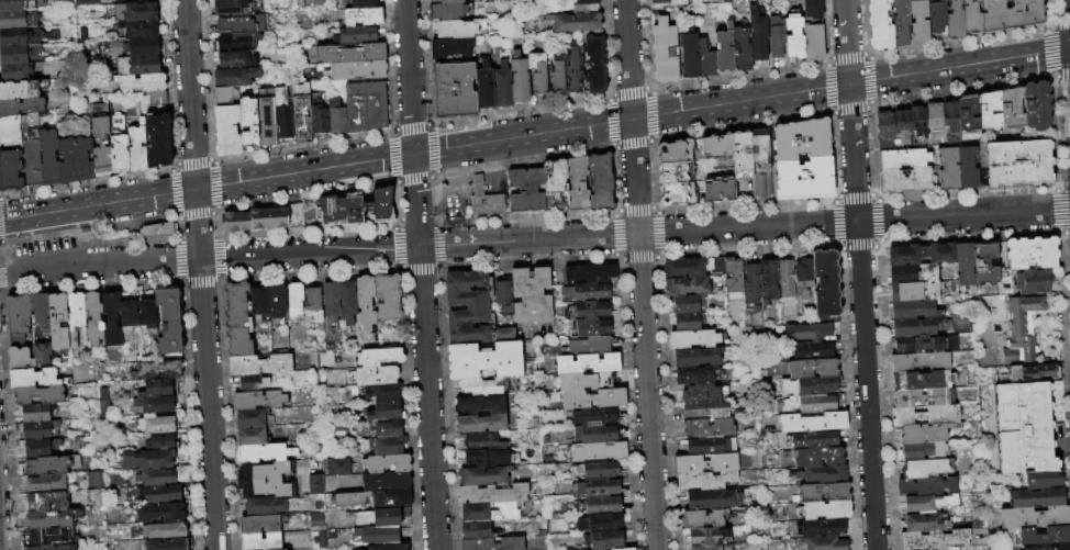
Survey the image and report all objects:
building: (446, 1)
building: (85, 2)
building: (696, 2)
building: (364, 3)
building: (667, 3)
building: (18, 4)
building: (586, 7)
building: (232, 8)
building: (812, 8)
building: (447, 11)
building: (134, 12)
building: (1011, 14)
building: (363, 16)
building: (937, 18)
building: (972, 18)
building: (18, 19)
building: (955, 20)
building: (919, 21)
building: (576, 22)
building: (902, 22)
building: (242, 24)
building: (881, 25)
building: (138, 29)
building: (458, 29)
building: (355, 35)
building: (757, 35)
building: (20, 36)
building: (793, 36)
building: (776, 37)
building: (813, 40)
building: (238, 41)
building: (134, 47)
building: (452, 47)
building: (740, 49)
building: (724, 50)
building: (664, 52)
building: (18, 54)
building: (350, 54)
building: (688, 55)
building: (236, 59)
road: (627, 59)
building: (705, 60)
building: (595, 61)
building: (137, 65)
building: (573, 69)
building: (358, 70)
building: (14, 72)
building: (538, 72)
building: (557, 76)
building: (236, 77)
road: (408, 77)
building: (520, 79)
building: (141, 82)
road: (850, 83)
building: (503, 86)
building: (484, 87)
building: (21, 89)
building: (454, 90)
road: (189, 94)
building: (224, 94)
building: (156, 98)
building: (375, 104)
building: (1036, 105)
building: (20, 106)
building: (355, 106)
building: (1011, 109)
building: (989, 111)
building: (301, 112)
building: (282, 113)
building: (319, 113)
building: (968, 114)
building: (336, 116)
building: (266, 117)
building: (934, 117)
building: (951, 122)
building: (248, 124)
building: (27, 125)
building: (917, 126)
building: (901, 127)
building: (227, 130)
building: (884, 131)
building: (9, 134)
road: (522, 136)
building: (157, 138)
building: (801, 138)
building: (717, 144)
building: (118, 145)
building: (100, 146)
building: (136, 147)
building: (759, 147)
building: (675, 150)
building: (742, 154)
traffic signals: (413, 155)
building: (47, 157)
building: (902, 159)
building: (75, 160)
building: (1014, 162)
building: (30, 164)
building: (958, 169)
building: (10, 171)
building: (675, 171)
road: (635, 177)
building: (554, 178)
building: (804, 178)
building: (909, 180)
building: (601, 181)
road: (241, 182)
building: (578, 183)
building: (761, 184)
building: (720, 189)
building: (526, 190)
building: (677, 192)
building: (484, 199)
road: (415, 201)
building: (377, 204)
building: (331, 209)
building: (353, 210)
building: (311, 213)
road: (34, 215)
building: (294, 215)
building: (254, 221)
road: (854, 223)
road: (196, 225)
building: (159, 229)
road: (528, 240)
building: (1032, 252)
road: (309, 254)
building: (922, 255)
road: (151, 262)
building: (985, 265)
building: (716, 266)
building: (966, 267)
building: (687, 268)
road: (51, 270)
building: (590, 273)
road: (859, 274)
building: (902, 274)
building: (733, 276)
building: (804, 277)
building: (785, 279)
building: (768, 280)
building: (927, 282)
building: (1033, 282)
building: (826, 283)
building: (751, 284)
building: (684, 287)
building: (587, 292)
building: (904, 292)
building: (503, 296)
building: (531, 296)
building: (388, 298)
building: (277, 301)
building: (331, 301)
building: (294, 302)
building: (347, 302)
building: (365, 302)
building: (259, 303)
building: (687, 304)
building: (312, 305)
building: (467, 307)
building: (590, 311)
building: (914, 311)
building: (40, 312)
building: (129, 314)
building: (146, 314)
building: (75, 316)
building: (93, 318)
building: (16, 319)
building: (111, 319)
building: (826, 319)
building: (169, 321)
building: (237, 321)
building: (689, 322)
building: (57, 323)
building: (915, 327)
building: (589, 328)
building: (1021, 330)
building: (806, 333)
building: (504, 334)
building: (692, 339)
building: (925, 345)
building: (590, 346)
building: (813, 351)
building: (42, 355)
building: (379, 357)
building: (699, 358)
building: (19, 359)
building: (484, 361)
building: (919, 361)
building: (587, 363)
building: (259, 364)
building: (812, 369)
building: (158, 370)
building: (1043, 372)
building: (693, 374)
building: (372, 377)
building: (35, 379)
building: (595, 380)
building: (921, 380)
building: (253, 383)
building: (481, 385)
building: (809, 386)
building: (156, 389)
road: (647, 392)
building: (382, 393)
building: (695, 393)
building: (37, 395)
building: (921, 397)
road: (426, 399)
building: (258, 400)
building: (593, 400)
building: (155, 404)
building: (480, 404)
road: (207, 405)
building: (788, 405)
building: (815, 405)
building: (705, 409)
building: (384, 412)
building: (34, 413)
building: (924, 416)
building: (592, 417)
building: (253, 419)
building: (480, 423)
building: (813, 423)
building: (1026, 423)
building: (156, 425)
building: (388, 428)
building: (709, 429)
building: (36, 431)
building: (924, 434)
building: (594, 435)
building: (250, 437)
building: (815, 439)
building: (163, 441)
building: (482, 441)
building: (388, 446)
building: (709, 446)
building: (40, 448)
building: (917, 451)
building: (597, 452)
building: (264, 453)
building: (818, 457)
building: (487, 458)
building: (147, 460)
building: (387, 463)
building: (705, 463)
building: (51, 465)
building: (339, 467)
building: (924, 469)
building: (597, 470)
building: (822, 474)
building: (483, 475)
building: (157, 478)
building: (92, 480)
building: (264, 480)
building: (1040, 480)
building: (704, 481)
building: (386, 482)
building: (47, 484)
building: (315, 484)
building: (928, 486)
building: (598, 489)
building: (824, 492)
building: (161, 494)
building: (492, 494)
building: (92, 497)
building: (399, 498)
building: (1037, 498)
building: (350, 500)
building: (713, 500)
building: (378, 501)
building: (46, 502)
building: (928, 503)
building: (599, 505)
building: (268, 506)
building: (825, 510)
building: (404, 512)
building: (489, 512)
building: (160, 513)
building: (1035, 517)
building: (378, 518)
building: (702, 518)
building: (52, 519)
building: (315, 521)
building: (599, 523)
building: (924, 523)
building: (261, 525)
building: (822, 528)
building: (164, 530)
building: (476, 530)
building: (379, 536)
building: (709, 537)
building: (1045, 537)
building: (49, 538)
building: (317, 539)
building: (604, 540)
building: (935, 540)
building: (261, 541)
building: (825, 543)
building: (167, 545)
building: (492, 545)
building: (388, 547)
building: (1050, 547)
building: (25, 548)
building: (52, 548)
building: (712, 548)
building: (281, 549)
building: (624, 549)
building: (952, 549)

